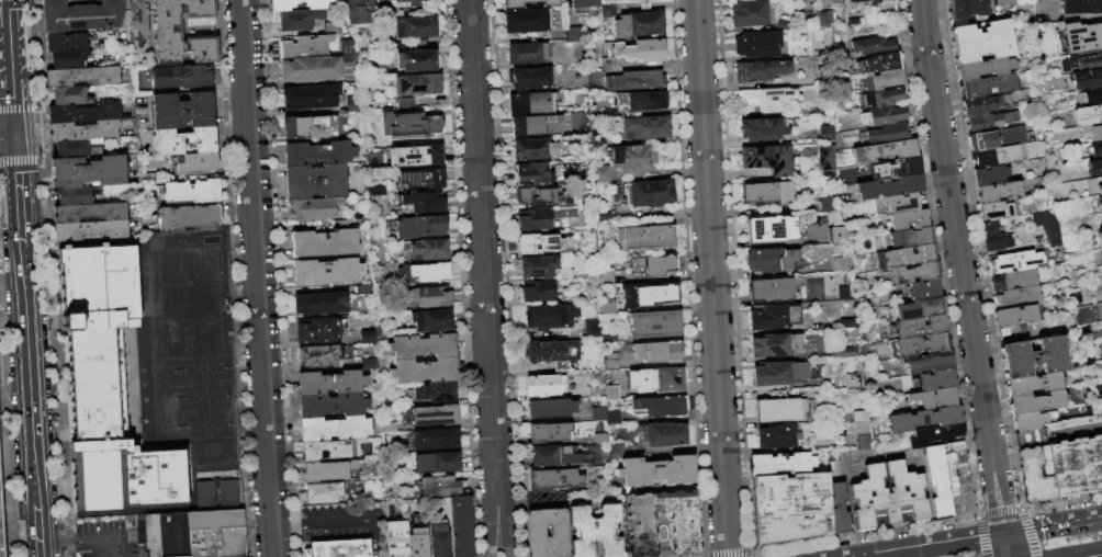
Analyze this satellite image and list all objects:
building: (406, 1)
building: (857, 1)
building: (876, 1)
building: (835, 2)
building: (1001, 2)
building: (1021, 2)
building: (528, 3)
building: (295, 4)
building: (582, 4)
building: (1080, 7)
building: (965, 9)
building: (606, 11)
building: (358, 12)
building: (749, 13)
building: (80, 15)
building: (137, 16)
building: (296, 20)
building: (525, 20)
building: (824, 21)
building: (853, 22)
building: (638, 25)
building: (784, 25)
building: (166, 27)
building: (414, 27)
building: (572, 35)
building: (1082, 37)
building: (981, 42)
building: (65, 43)
building: (308, 44)
building: (757, 45)
building: (873, 46)
building: (345, 47)
building: (638, 52)
building: (525, 54)
building: (66, 60)
building: (415, 61)
building: (879, 62)
building: (1080, 62)
road: (10, 69)
building: (983, 69)
building: (308, 70)
building: (760, 71)
building: (80, 77)
building: (181, 77)
building: (528, 78)
building: (884, 80)
building: (1087, 80)
building: (634, 81)
building: (416, 86)
building: (988, 87)
building: (68, 95)
building: (1093, 96)
building: (308, 98)
building: (882, 98)
building: (765, 100)
building: (641, 101)
building: (403, 103)
building: (531, 104)
building: (983, 105)
building: (181, 110)
building: (822, 110)
building: (82, 113)
building: (607, 115)
building: (881, 116)
building: (1087, 116)
building: (1010, 118)
building: (982, 124)
building: (535, 125)
building: (407, 126)
building: (307, 128)
building: (645, 128)
building: (762, 129)
building: (82, 130)
building: (1092, 132)
building: (888, 134)
building: (826, 135)
road: (7, 139)
traffic signals: (14, 139)
building: (996, 139)
building: (183, 141)
building: (70, 148)
building: (532, 149)
building: (1095, 150)
building: (884, 152)
building: (316, 154)
building: (413, 156)
building: (826, 158)
building: (989, 158)
building: (632, 159)
building: (767, 159)
building: (195, 163)
building: (1093, 167)
building: (895, 168)
building: (88, 171)
building: (531, 173)
building: (599, 175)
building: (988, 177)
building: (419, 180)
building: (1101, 180)
building: (313, 182)
building: (889, 187)
building: (190, 191)
building: (1100, 192)
building: (650, 193)
building: (766, 193)
building: (998, 193)
road: (18, 194)
building: (72, 196)
building: (539, 198)
building: (423, 203)
building: (902, 204)
building: (825, 205)
building: (312, 209)
building: (999, 211)
building: (1101, 211)
building: (89, 212)
building: (185, 216)
building: (599, 216)
building: (541, 219)
building: (908, 220)
building: (419, 227)
building: (1047, 227)
building: (989, 228)
building: (771, 229)
building: (90, 230)
building: (836, 236)
building: (644, 238)
building: (910, 238)
building: (1100, 238)
building: (323, 243)
building: (996, 243)
building: (541, 245)
building: (428, 250)
building: (904, 257)
building: (771, 260)
building: (1014, 262)
building: (837, 265)
building: (652, 266)
building: (537, 268)
road: (959, 268)
building: (324, 272)
building: (423, 273)
building: (915, 273)
road: (256, 278)
road: (483, 278)
road: (709, 278)
building: (605, 280)
building: (1013, 281)
building: (771, 289)
building: (923, 291)
building: (537, 292)
building: (844, 294)
building: (648, 296)
building: (428, 297)
building: (1016, 298)
building: (318, 304)
building: (606, 308)
building: (915, 309)
building: (1013, 316)
building: (543, 317)
building: (774, 318)
building: (430, 321)
building: (847, 323)
building: (653, 326)
building: (918, 327)
building: (591, 329)
building: (1021, 329)
building: (316, 331)
building: (1004, 332)
building: (364, 338)
building: (609, 338)
building: (775, 345)
building: (419, 346)
building: (915, 346)
building: (548, 352)
building: (656, 353)
building: (843, 353)
building: (315, 356)
building: (1033, 357)
building: (610, 362)
building: (929, 363)
building: (367, 364)
road: (27, 370)
building: (421, 371)
building: (779, 374)
building: (656, 380)
building: (935, 380)
building: (854, 384)
building: (1033, 385)
building: (108, 386)
building: (543, 386)
building: (435, 393)
building: (604, 394)
building: (329, 395)
building: (933, 398)
building: (1035, 402)
building: (661, 407)
building: (550, 409)
building: (779, 410)
building: (597, 414)
building: (432, 416)
building: (859, 417)
building: (612, 418)
building: (923, 420)
building: (1028, 421)
road: (1101, 423)
road: (1081, 427)
building: (333, 430)
building: (552, 433)
road: (1061, 434)
building: (662, 435)
building: (934, 435)
building: (776, 437)
building: (1030, 437)
building: (599, 439)
building: (434, 440)
building: (864, 443)
building: (328, 451)
building: (614, 452)
building: (551, 456)
building: (436, 463)
building: (780, 464)
building: (1076, 467)
building: (325, 471)
building: (655, 473)
building: (1033, 477)
building: (553, 480)
building: (937, 481)
building: (958, 484)
building: (437, 487)
building: (205, 493)
building: (227, 493)
building: (321, 493)
building: (867, 493)
road: (35, 503)
building: (789, 508)
building: (837, 509)
road: (357, 522)
building: (682, 524)
road: (286, 525)
building: (458, 526)
road: (1053, 527)
building: (623, 531)
building: (594, 532)
building: (546, 533)
building: (194, 534)
traffic signals: (1004, 535)
road: (36, 536)
building: (0, 537)
road: (106, 539)
building: (394, 539)
building: (437, 542)
road: (58, 543)
parking lot: (103, 543)
building: (416, 543)
road: (938, 546)
road: (1005, 546)
building: (337, 548)
road: (1086, 554)
road: (38, 555)

